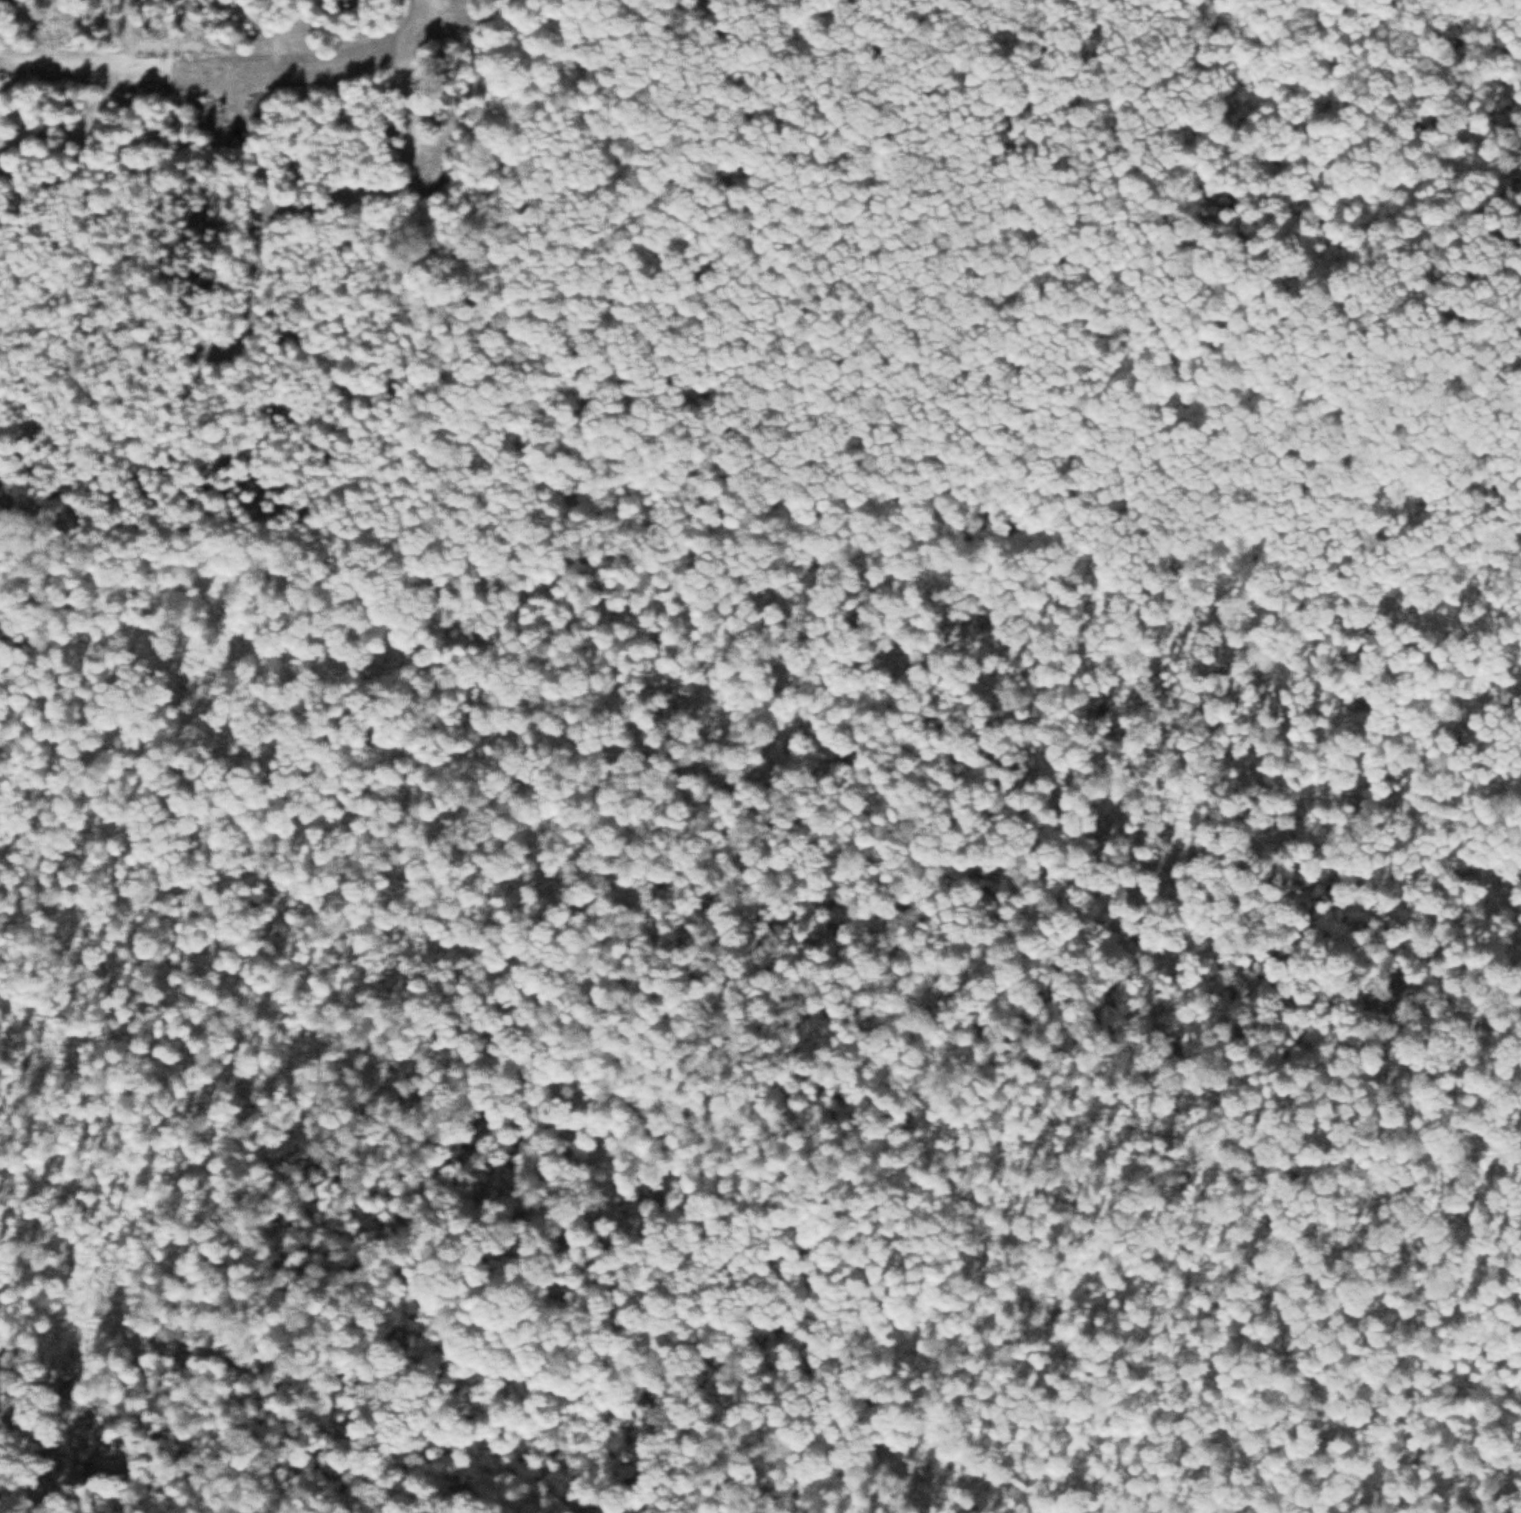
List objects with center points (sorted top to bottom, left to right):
road: (532, 716)

